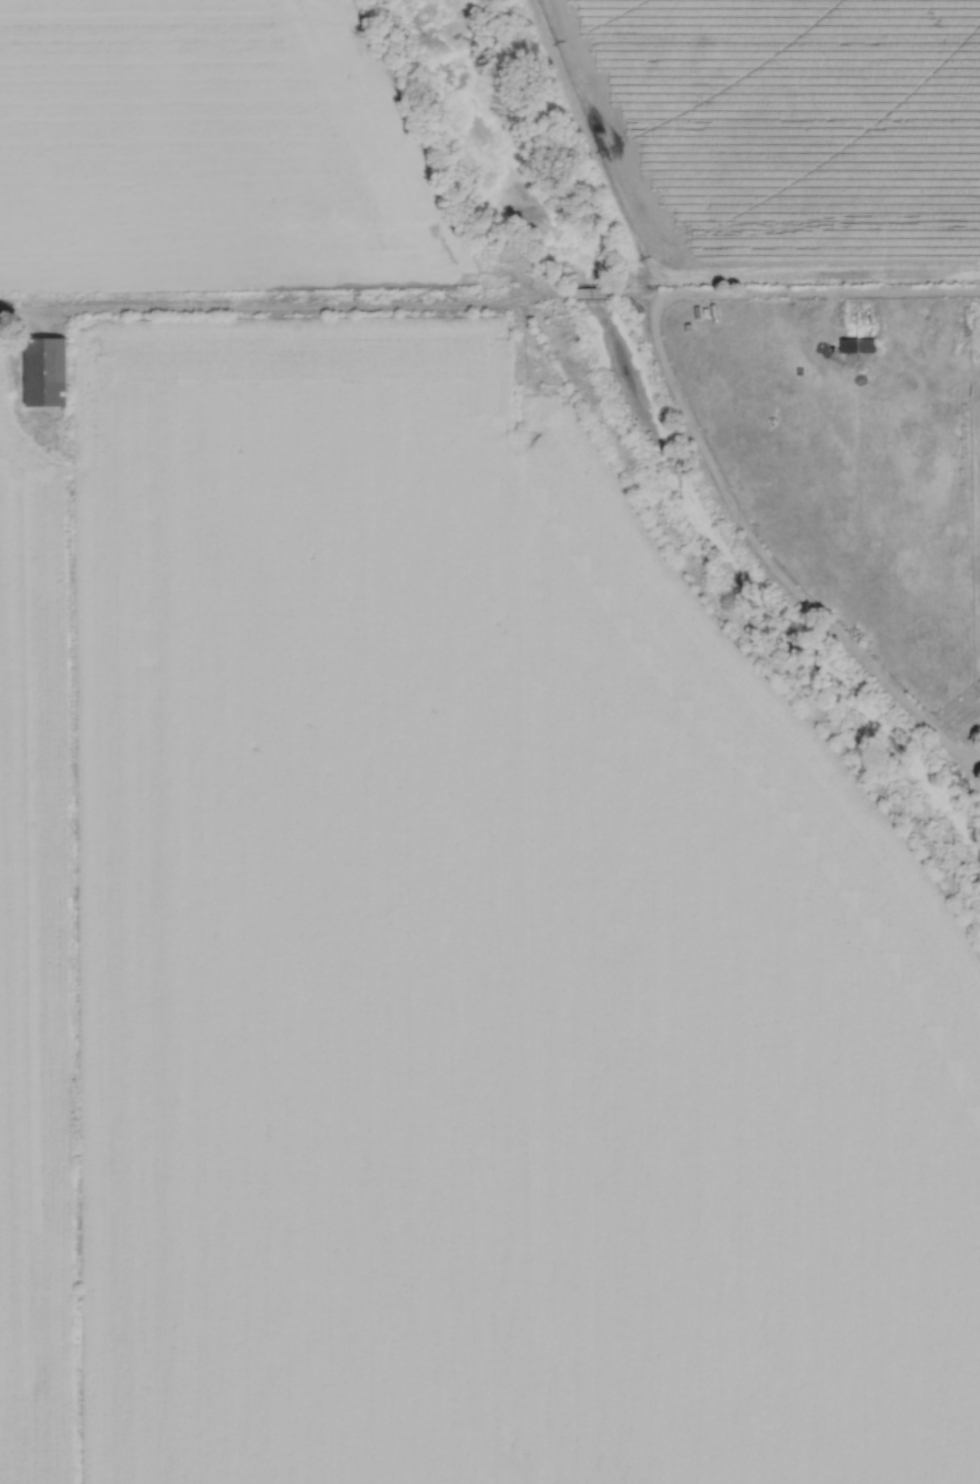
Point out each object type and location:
crop: (781, 132)
crop: (212, 154)
road: (819, 291)
road: (592, 293)
road: (639, 293)
building: (636, 305)
road: (283, 306)
building: (813, 311)
road: (920, 342)
building: (857, 344)
building: (673, 346)
building: (45, 370)
road: (769, 561)
road: (975, 771)
crop: (438, 948)

